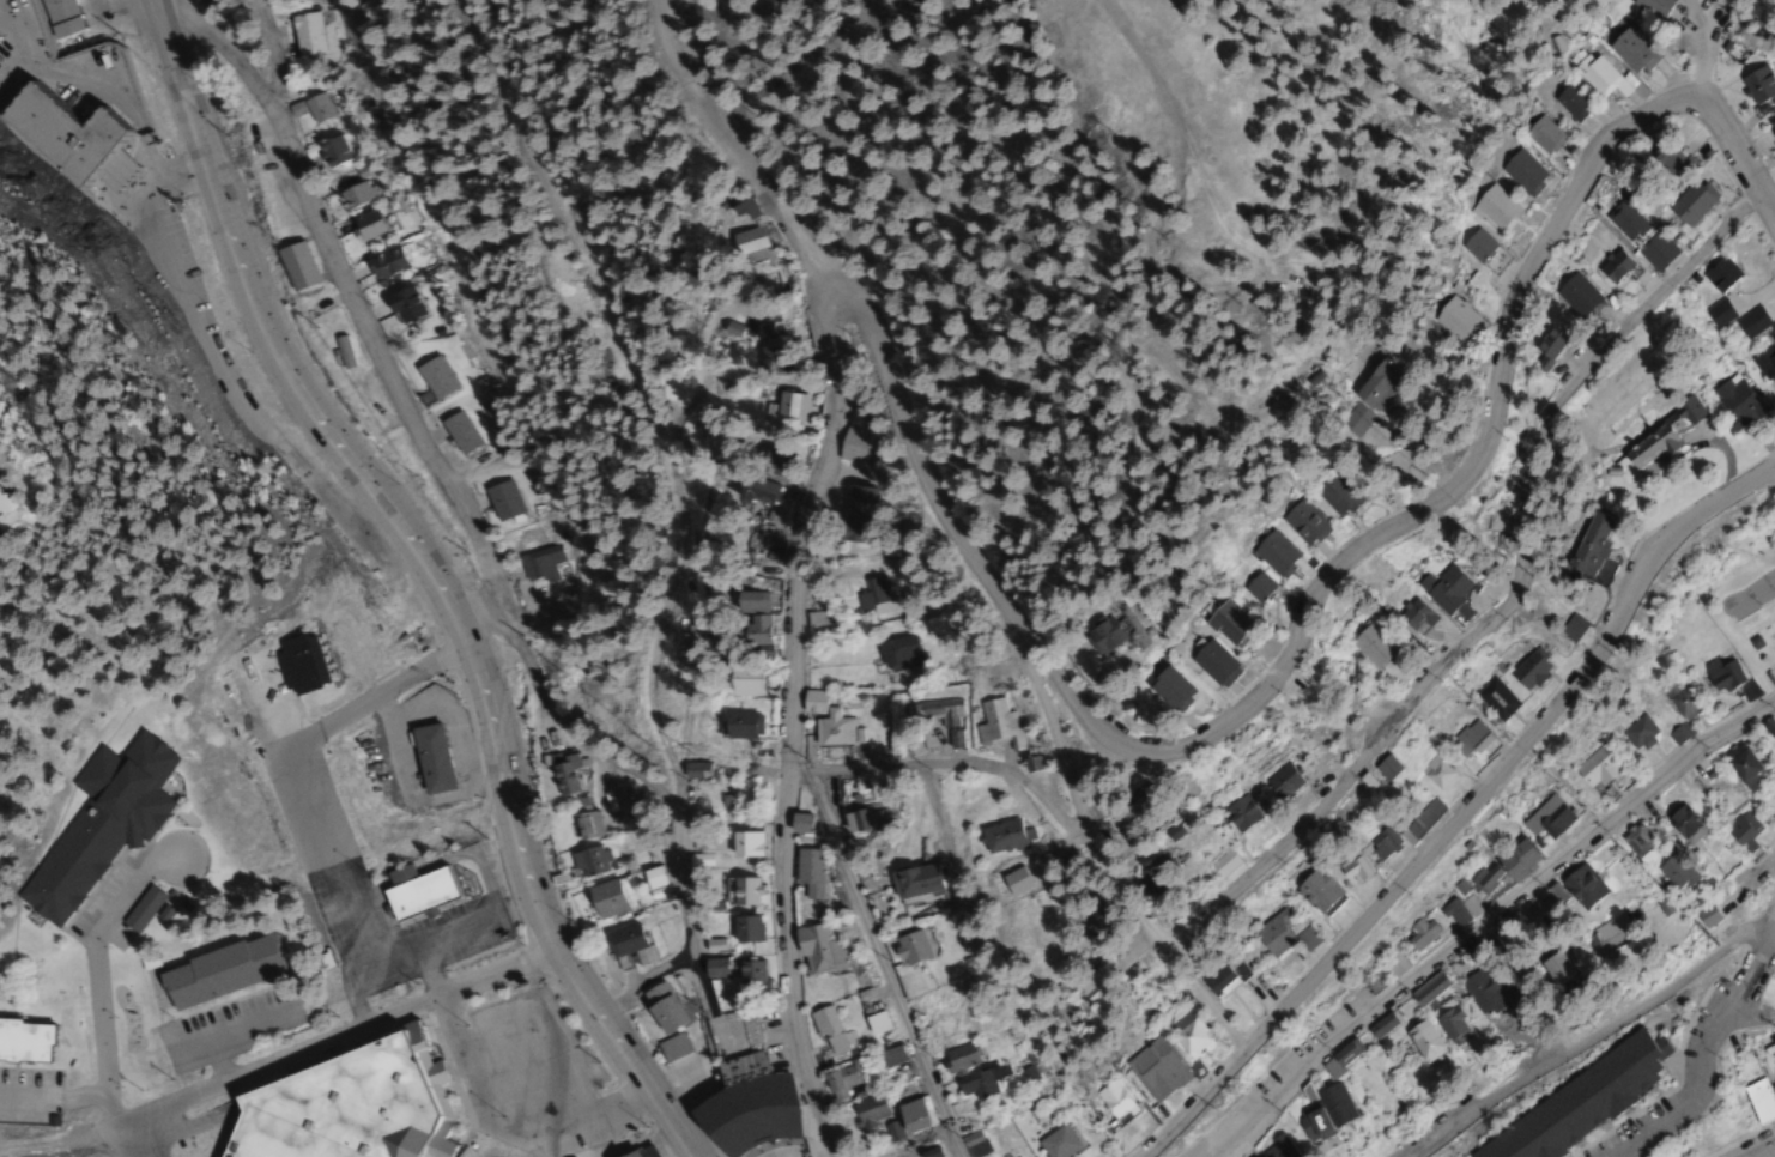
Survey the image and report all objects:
building: (1650, 6)
building: (56, 18)
building: (305, 34)
building: (1629, 50)
building: (1595, 74)
building: (1758, 89)
building: (1569, 101)
building: (317, 108)
building: (1541, 134)
building: (1771, 135)
building: (67, 141)
building: (333, 151)
building: (1664, 162)
building: (1520, 171)
building: (357, 194)
building: (1689, 204)
building: (1492, 207)
building: (1623, 222)
building: (365, 226)
building: (745, 242)
building: (1476, 246)
building: (1654, 252)
building: (384, 265)
building: (295, 266)
building: (1613, 267)
building: (1719, 275)
building: (1576, 297)
road: (351, 302)
building: (401, 305)
building: (1715, 313)
building: (1453, 319)
building: (773, 329)
building: (1544, 346)
building: (341, 352)
building: (1765, 364)
building: (435, 378)
building: (1363, 399)
building: (1734, 402)
building: (789, 411)
building: (459, 434)
building: (1656, 441)
building: (852, 444)
building: (773, 456)
building: (757, 491)
building: (1332, 493)
building: (501, 501)
building: (854, 521)
building: (1494, 522)
building: (1302, 523)
building: (1587, 546)
building: (1271, 553)
building: (540, 564)
road: (432, 580)
building: (1255, 588)
building: (1441, 589)
road: (1497, 592)
road: (788, 596)
building: (874, 596)
road: (1302, 596)
building: (1412, 618)
building: (752, 619)
building: (817, 622)
building: (1225, 625)
building: (934, 628)
building: (1098, 637)
building: (1368, 646)
building: (898, 654)
building: (1208, 665)
building: (1526, 673)
building: (1719, 674)
building: (739, 684)
building: (1168, 687)
building: (1494, 701)
building: (1682, 703)
building: (939, 711)
building: (828, 722)
building: (998, 725)
building: (739, 727)
building: (1636, 734)
building: (1471, 741)
building: (428, 759)
road: (940, 761)
building: (1383, 769)
building: (1740, 769)
building: (1592, 770)
building: (696, 771)
building: (564, 774)
building: (1435, 775)
building: (1280, 783)
road: (659, 786)
building: (622, 798)
road: (1464, 812)
building: (1237, 813)
building: (1544, 819)
building: (858, 822)
building: (1418, 823)
building: (98, 825)
building: (1680, 825)
building: (587, 826)
building: (1738, 829)
building: (1000, 838)
building: (745, 844)
building: (1636, 846)
road: (1096, 853)
building: (1356, 856)
building: (589, 864)
building: (1502, 868)
building: (810, 872)
building: (1672, 873)
building: (1151, 876)
building: (913, 883)
building: (1576, 890)
building: (741, 891)
building: (414, 892)
building: (1316, 894)
building: (604, 901)
building: (140, 911)
building: (1453, 914)
building: (1533, 915)
road: (1482, 917)
building: (1079, 925)
building: (746, 929)
building: (1420, 933)
building: (1607, 935)
building: (1270, 937)
building: (622, 941)
building: (908, 949)
building: (819, 950)
road: (884, 953)
building: (1394, 965)
building: (715, 968)
building: (217, 974)
road: (1752, 974)
building: (1555, 975)
building: (751, 977)
building: (1219, 979)
building: (1092, 982)
building: (1774, 982)
building: (1425, 991)
building: (1479, 992)
building: (661, 1007)
building: (1446, 1023)
building: (874, 1024)
building: (1377, 1026)
building: (829, 1034)
road: (1587, 1037)
building: (1188, 1038)
building: (24, 1042)
building: (1420, 1042)
building: (672, 1047)
building: (1765, 1049)
building: (1343, 1054)
building: (889, 1058)
building: (958, 1058)
building: (1155, 1071)
road: (1700, 1077)
building: (1771, 1080)
building: (979, 1082)
building: (840, 1084)
road: (206, 1091)
road: (57, 1092)
building: (1108, 1101)
building: (1756, 1101)
building: (1575, 1102)
building: (347, 1105)
building: (744, 1107)
building: (1322, 1110)
building: (867, 1111)
building: (911, 1116)
building: (1055, 1143)
building: (974, 1144)
building: (642, 1152)
road: (1770, 1153)
building: (1008, 1155)

